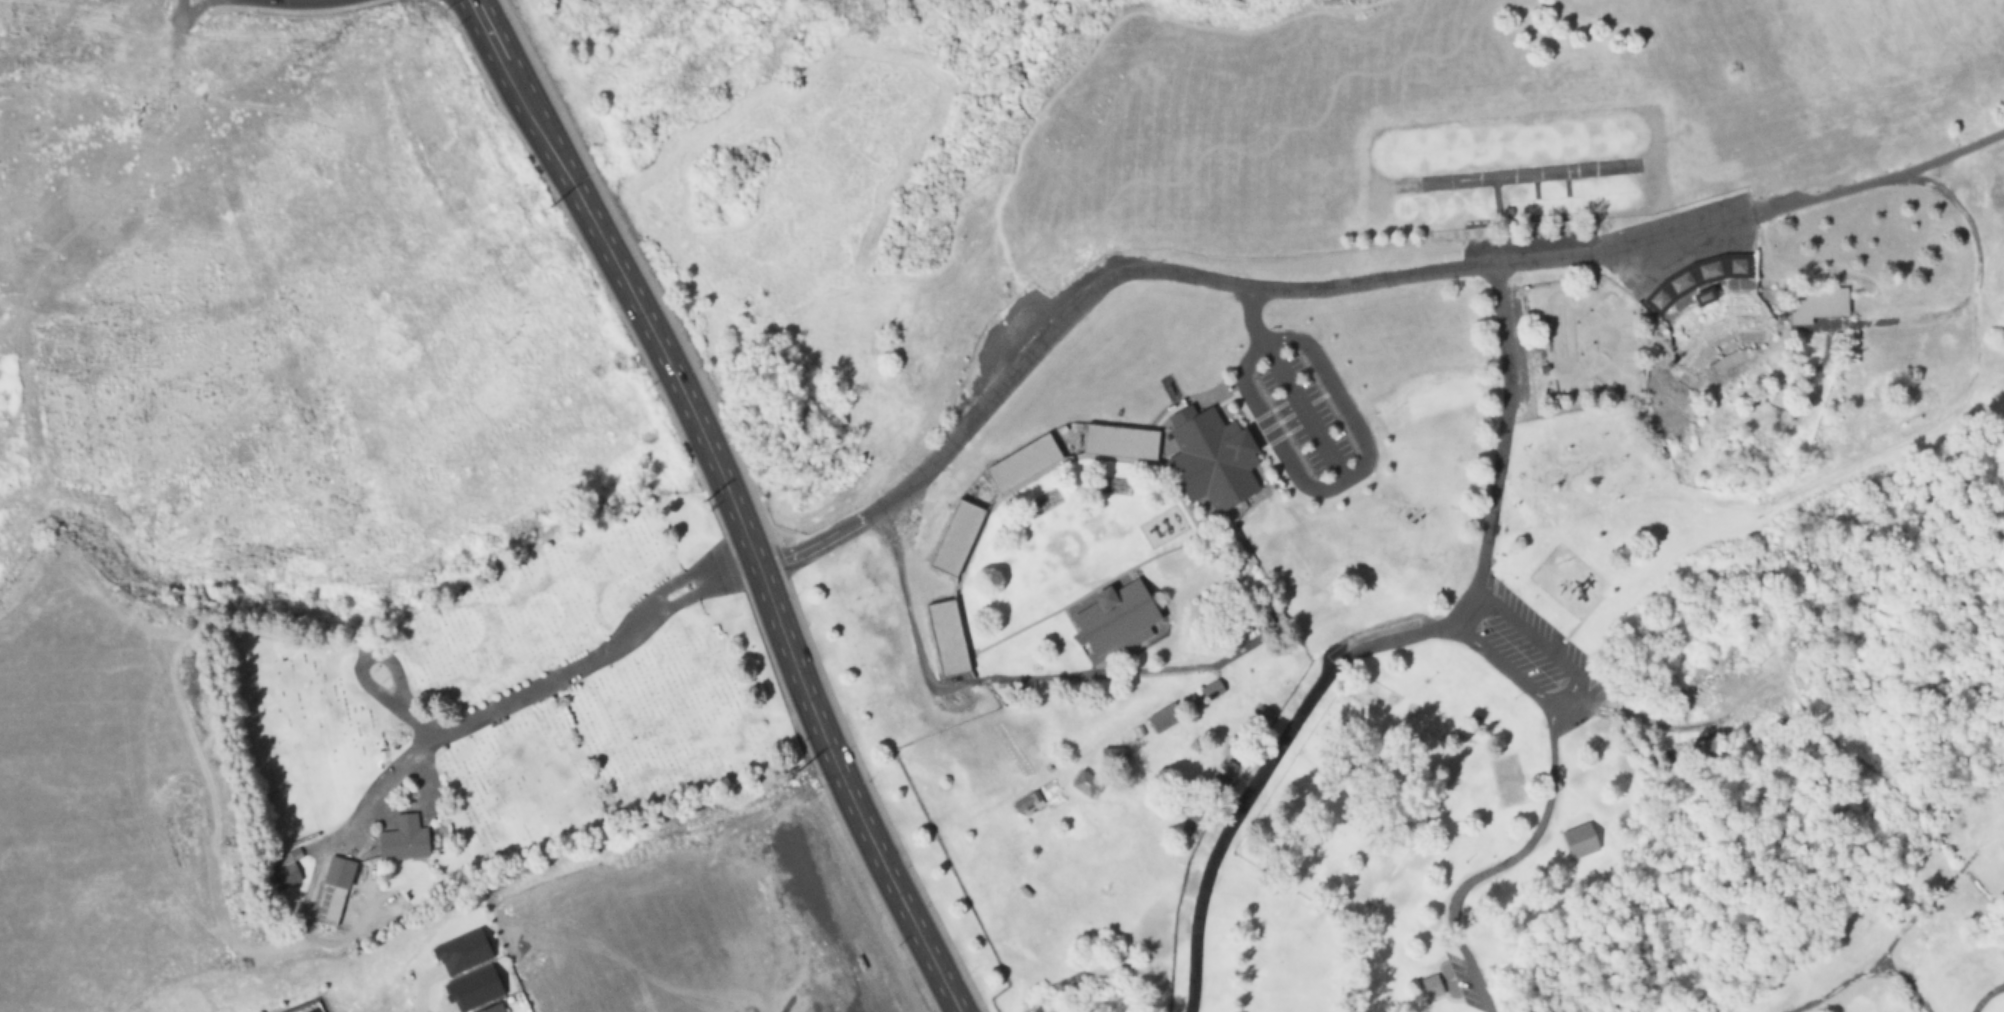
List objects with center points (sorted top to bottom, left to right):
road: (1089, 57)
road: (1011, 61)
road: (1878, 178)
park: (1505, 186)
power tower: (551, 208)
road: (1203, 277)
building: (1712, 302)
building: (1814, 303)
park: (1581, 341)
road: (1301, 409)
parking lot: (1303, 413)
building: (1119, 441)
road: (1500, 446)
building: (1210, 457)
building: (1023, 463)
road: (1848, 464)
park: (1358, 474)
road: (1313, 487)
power tower: (704, 499)
road: (734, 500)
road: (756, 501)
building: (958, 538)
building: (1116, 620)
road: (1435, 630)
building: (947, 638)
parking lot: (1533, 651)
road: (602, 654)
road: (398, 686)
building: (1213, 690)
building: (1162, 719)
park: (471, 730)
building: (1113, 756)
power tower: (796, 770)
building: (1086, 784)
building: (1026, 802)
building: (404, 839)
building: (1579, 840)
building: (285, 871)
building: (334, 890)
building: (1430, 986)

